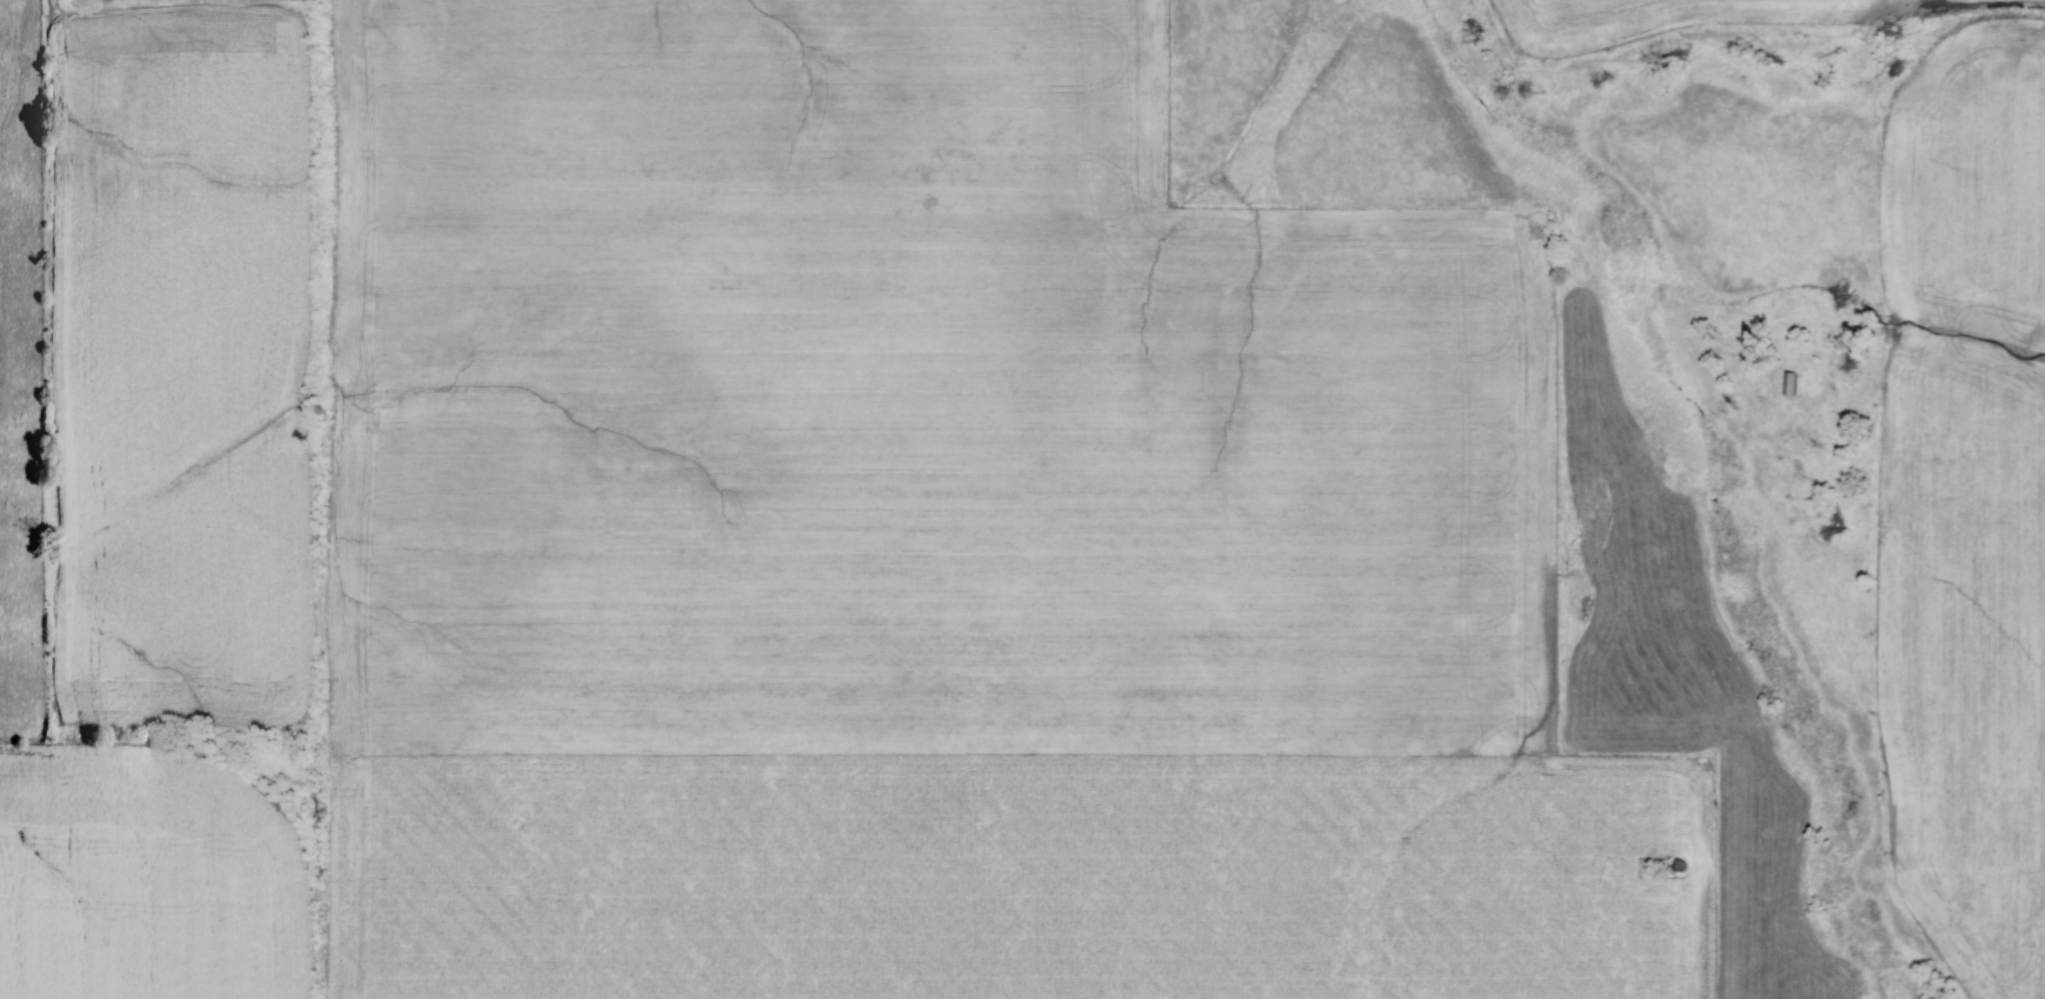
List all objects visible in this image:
building: (1791, 383)

